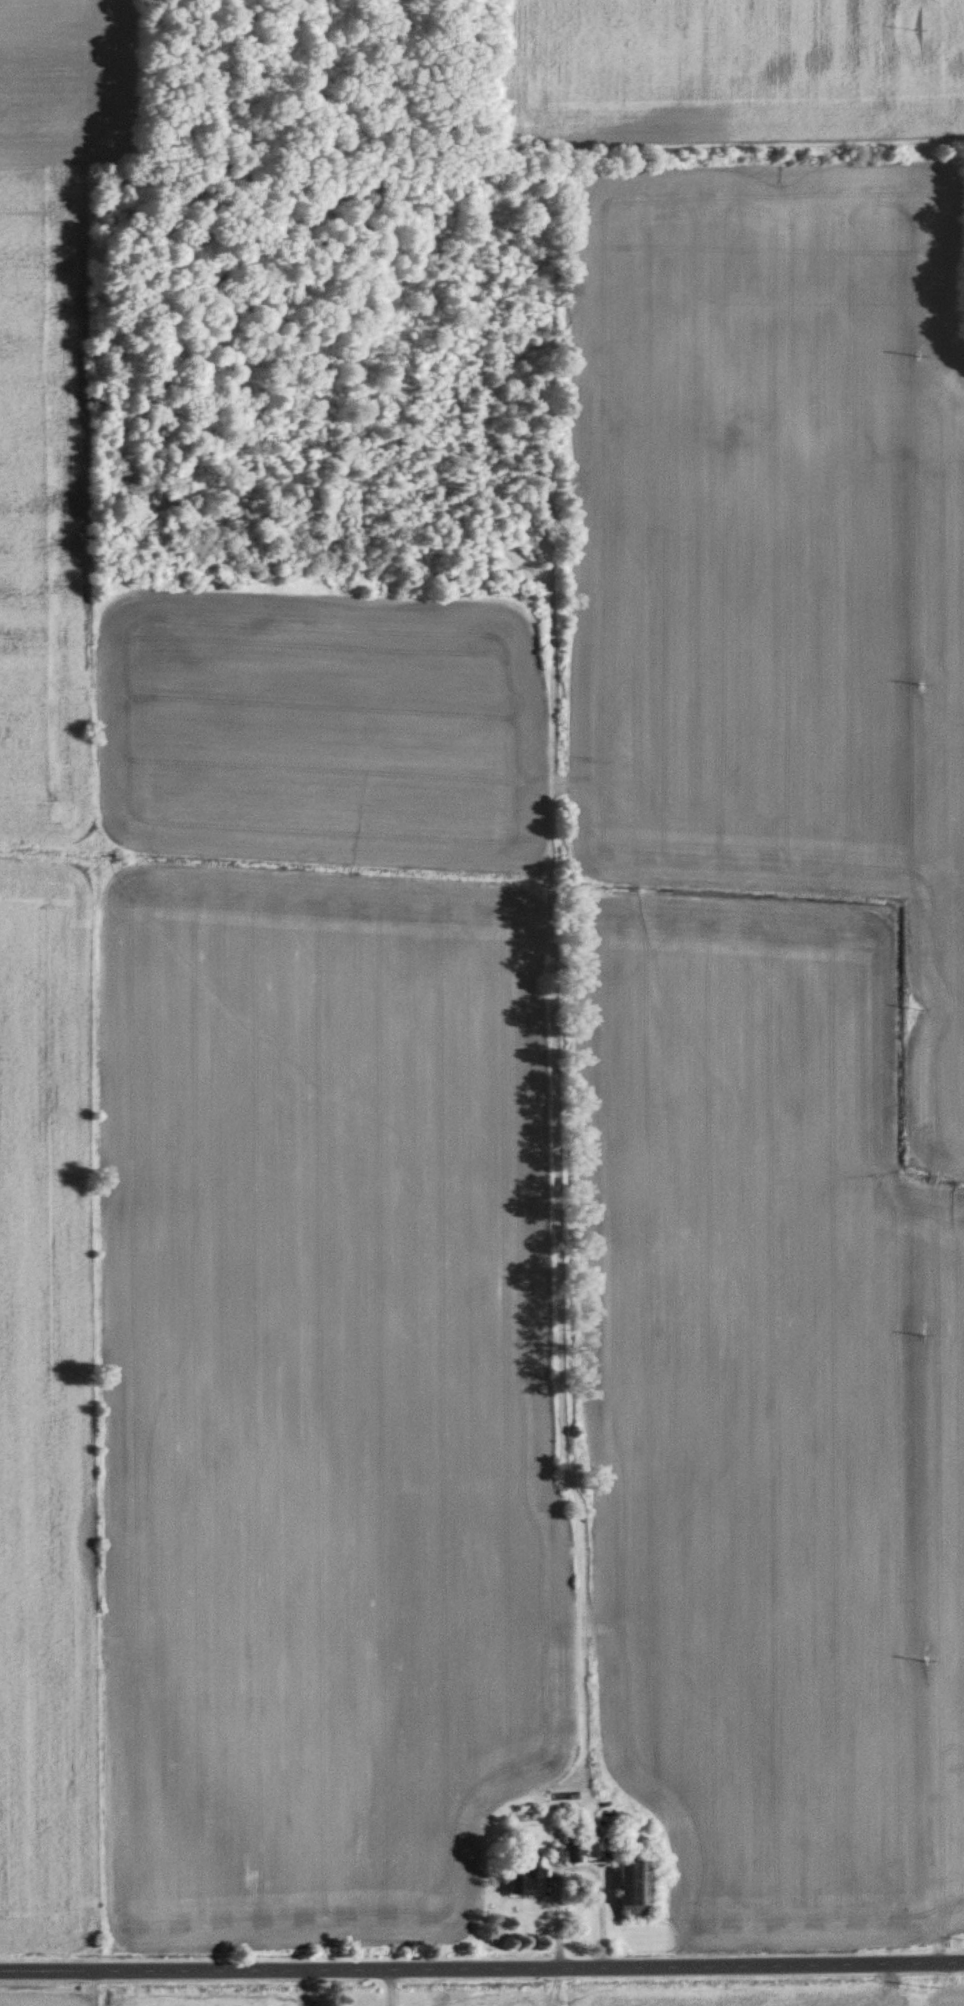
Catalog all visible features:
building: (574, 1841)
building: (529, 1879)
building: (636, 1880)
road: (482, 1967)

